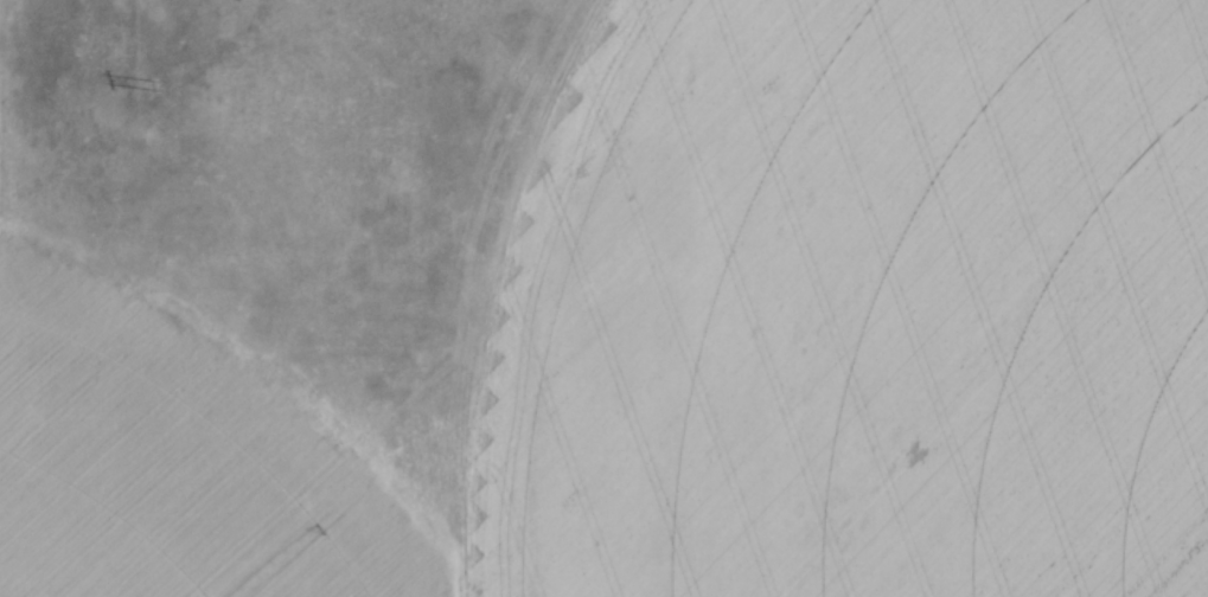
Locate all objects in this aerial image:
power tower: (152, 84)

